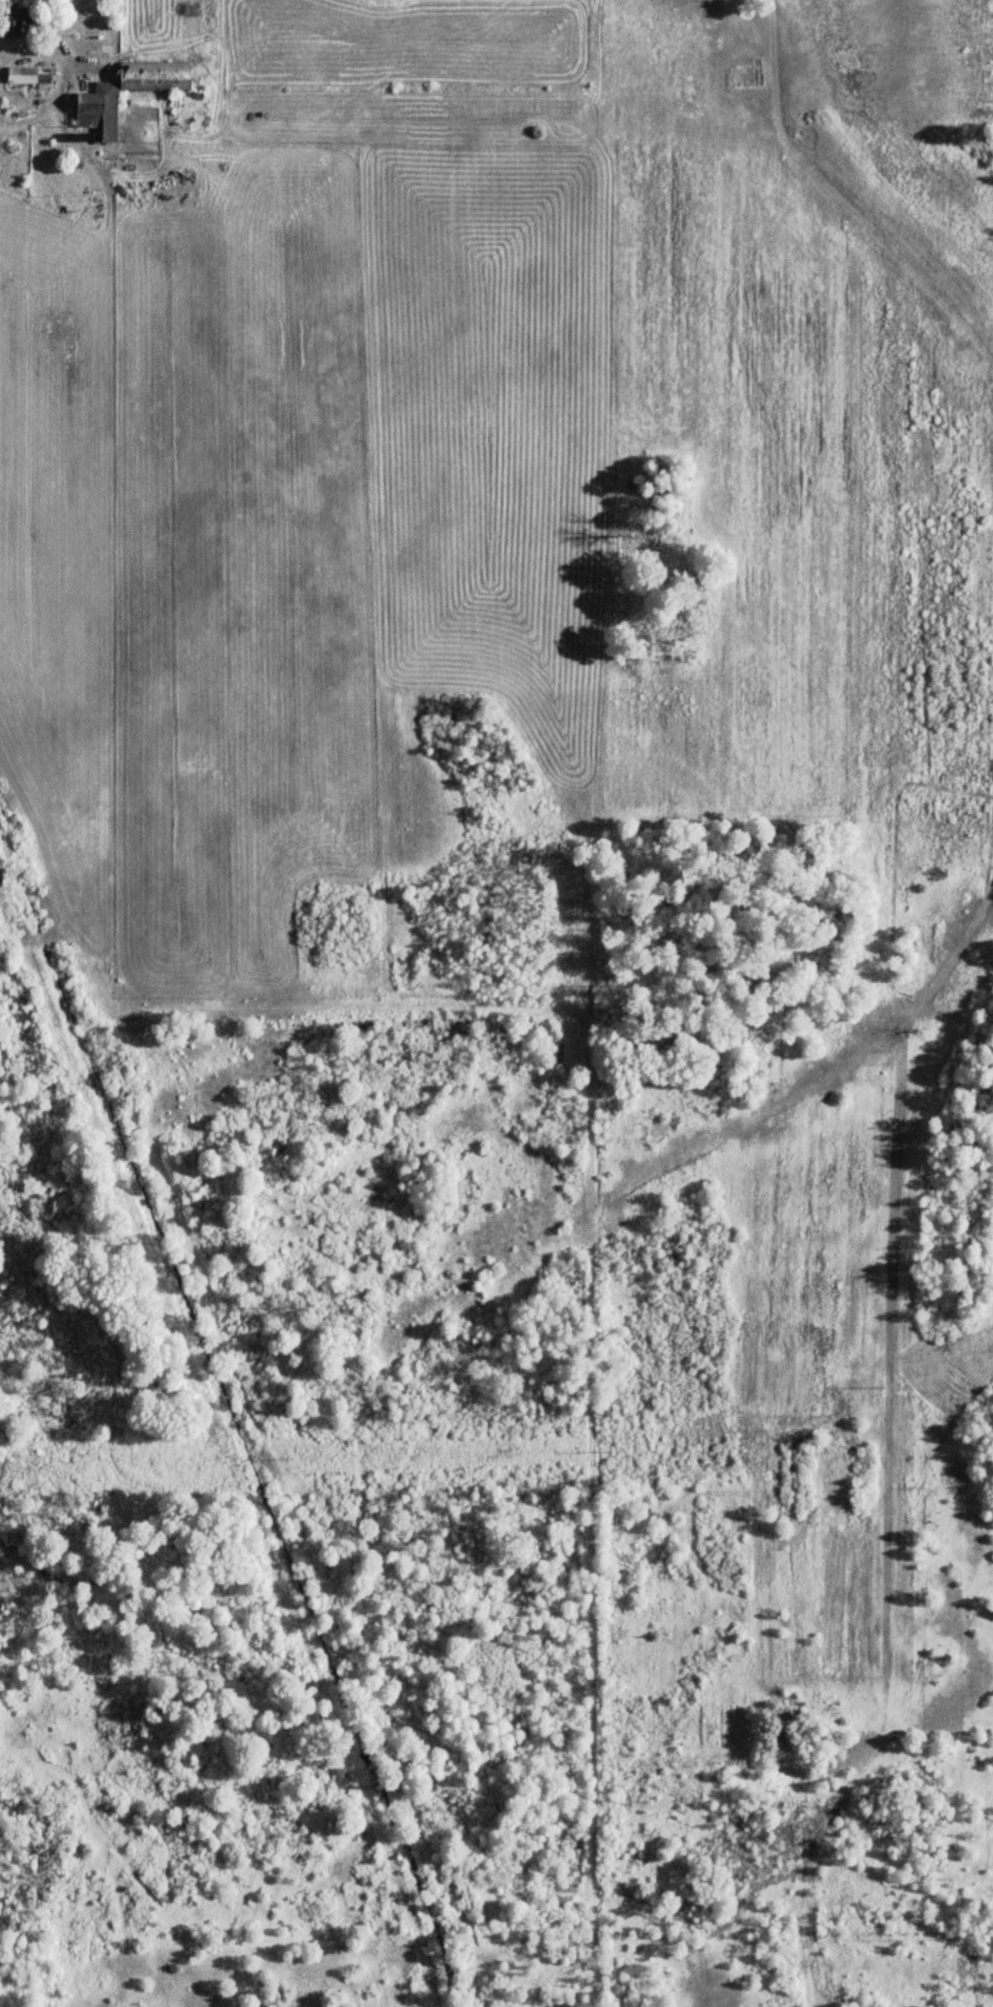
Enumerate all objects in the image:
building: (15, 16)
road: (62, 64)
building: (23, 75)
building: (157, 76)
building: (100, 112)

